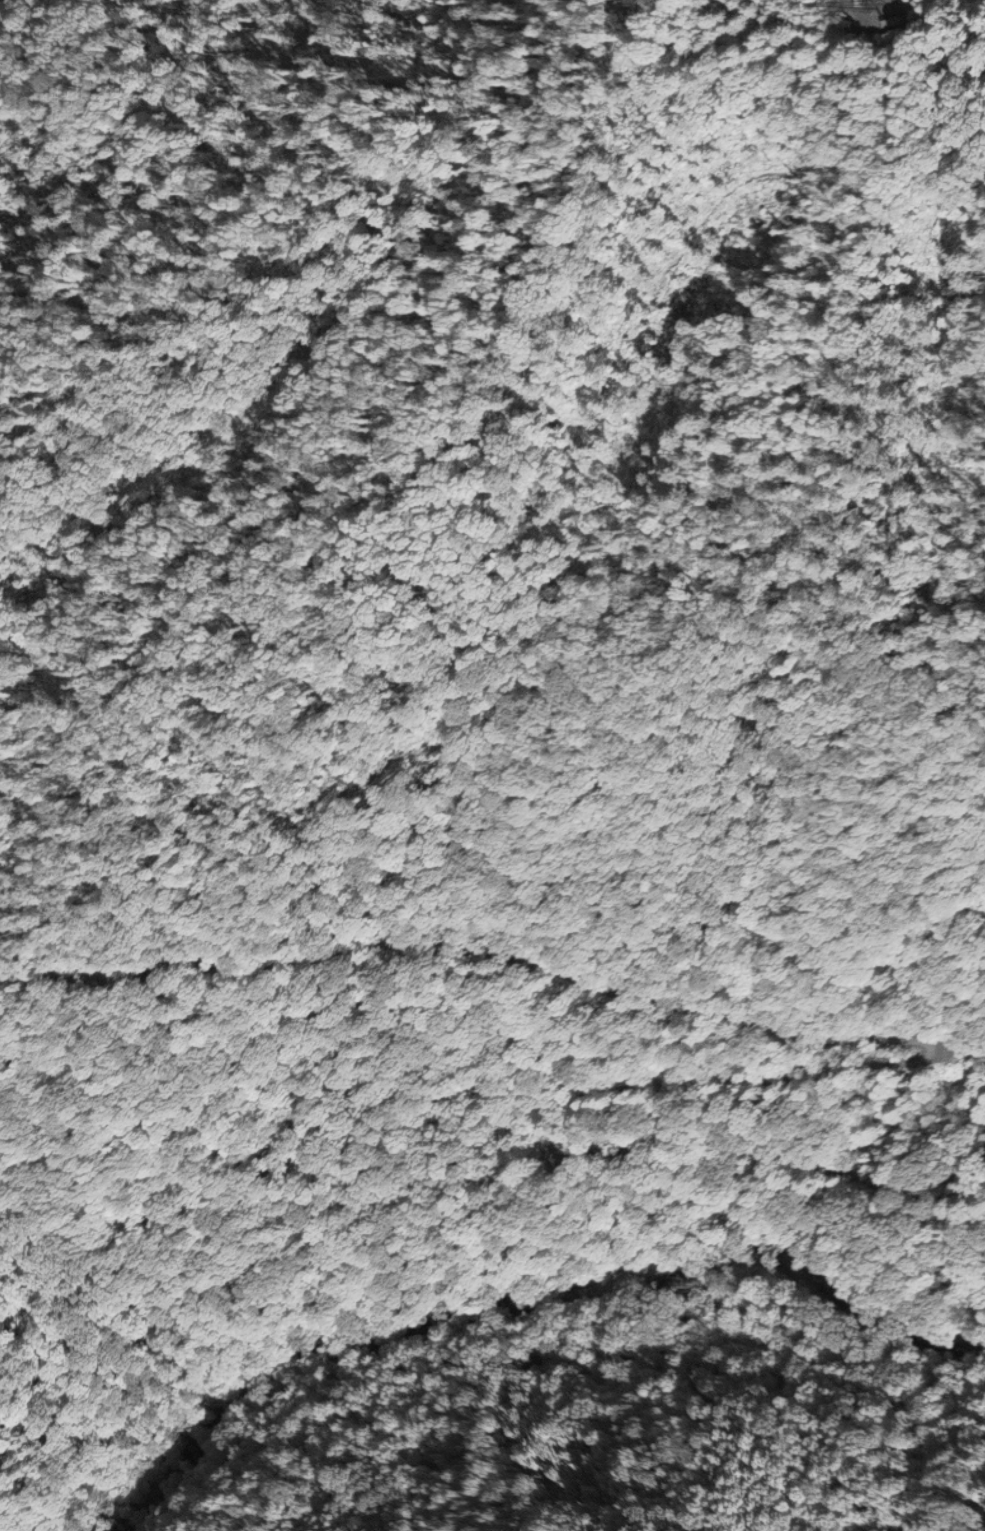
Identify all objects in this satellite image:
road: (893, 1)
building: (919, 9)
road: (908, 1035)
road: (958, 1051)

